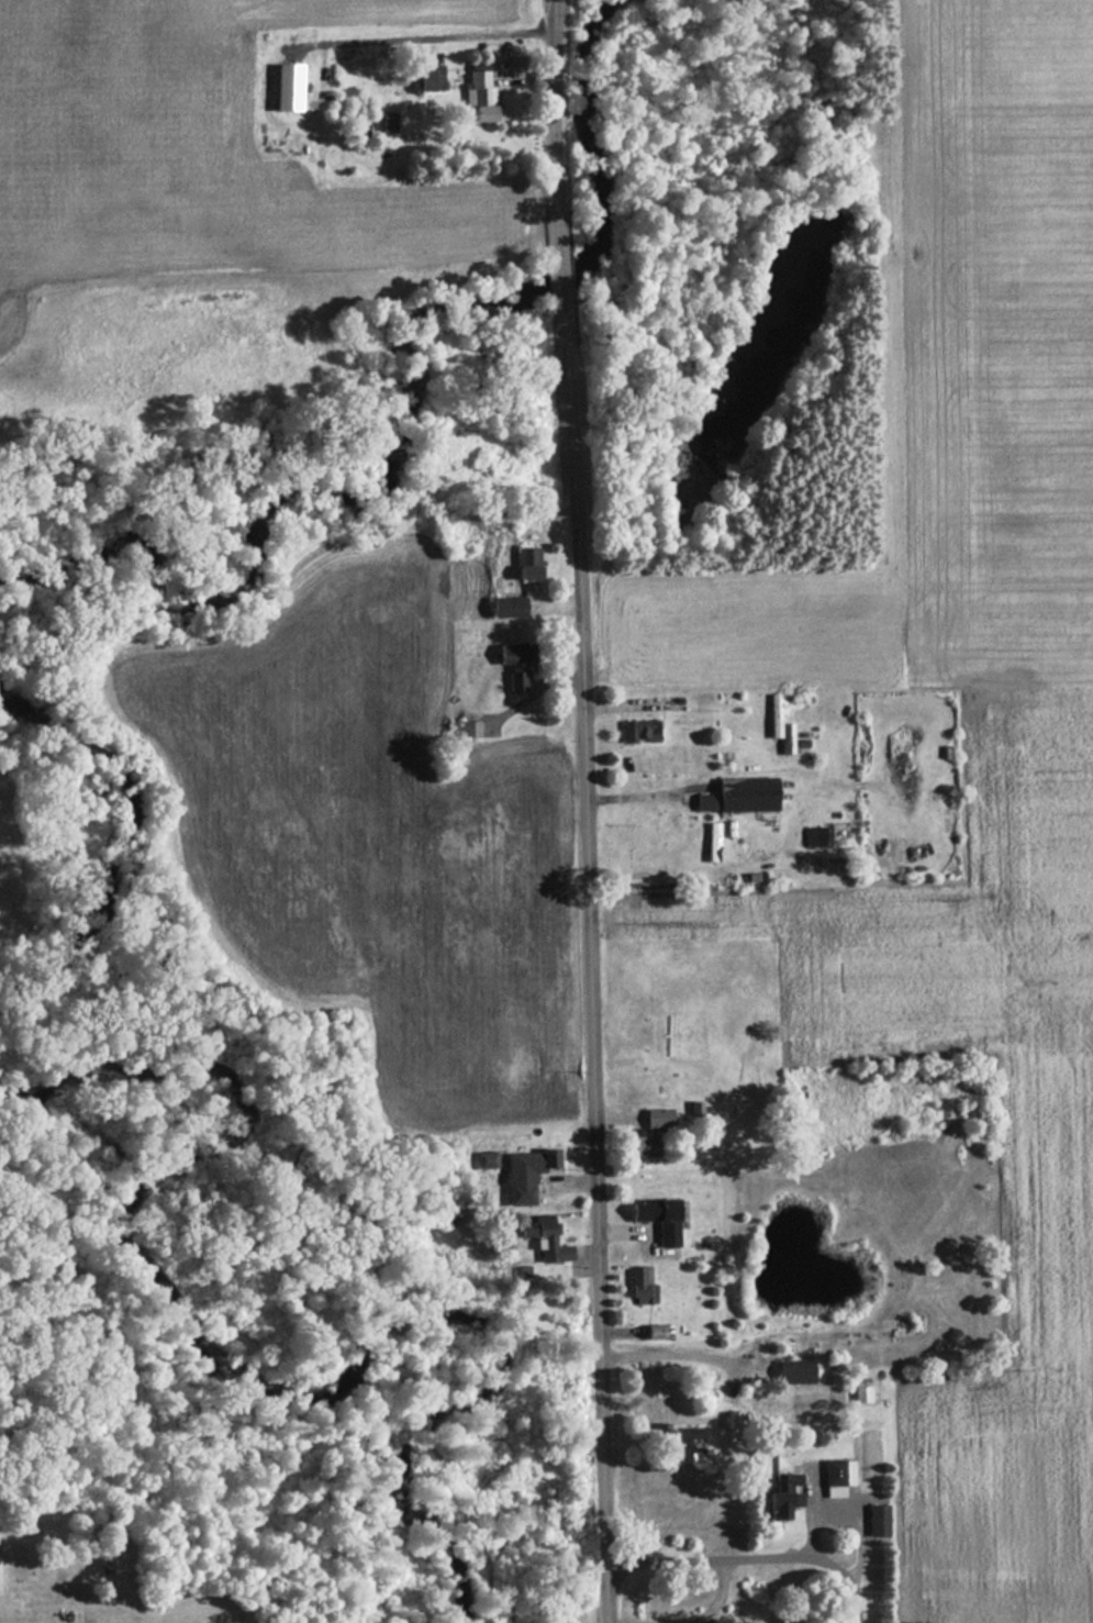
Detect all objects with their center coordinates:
crop: (1001, 44)
building: (427, 78)
building: (282, 86)
building: (478, 97)
building: (383, 122)
building: (522, 563)
building: (503, 607)
building: (506, 654)
building: (511, 681)
building: (636, 730)
building: (783, 738)
building: (741, 793)
crop: (960, 810)
road: (590, 811)
building: (814, 836)
building: (710, 842)
building: (646, 1134)
building: (483, 1159)
building: (522, 1175)
building: (654, 1219)
building: (542, 1242)
building: (638, 1286)
building: (651, 1332)
road: (683, 1356)
building: (790, 1371)
building: (858, 1396)
building: (679, 1444)
building: (834, 1477)
building: (780, 1498)
building: (873, 1520)
road: (858, 1554)
road: (752, 1559)

